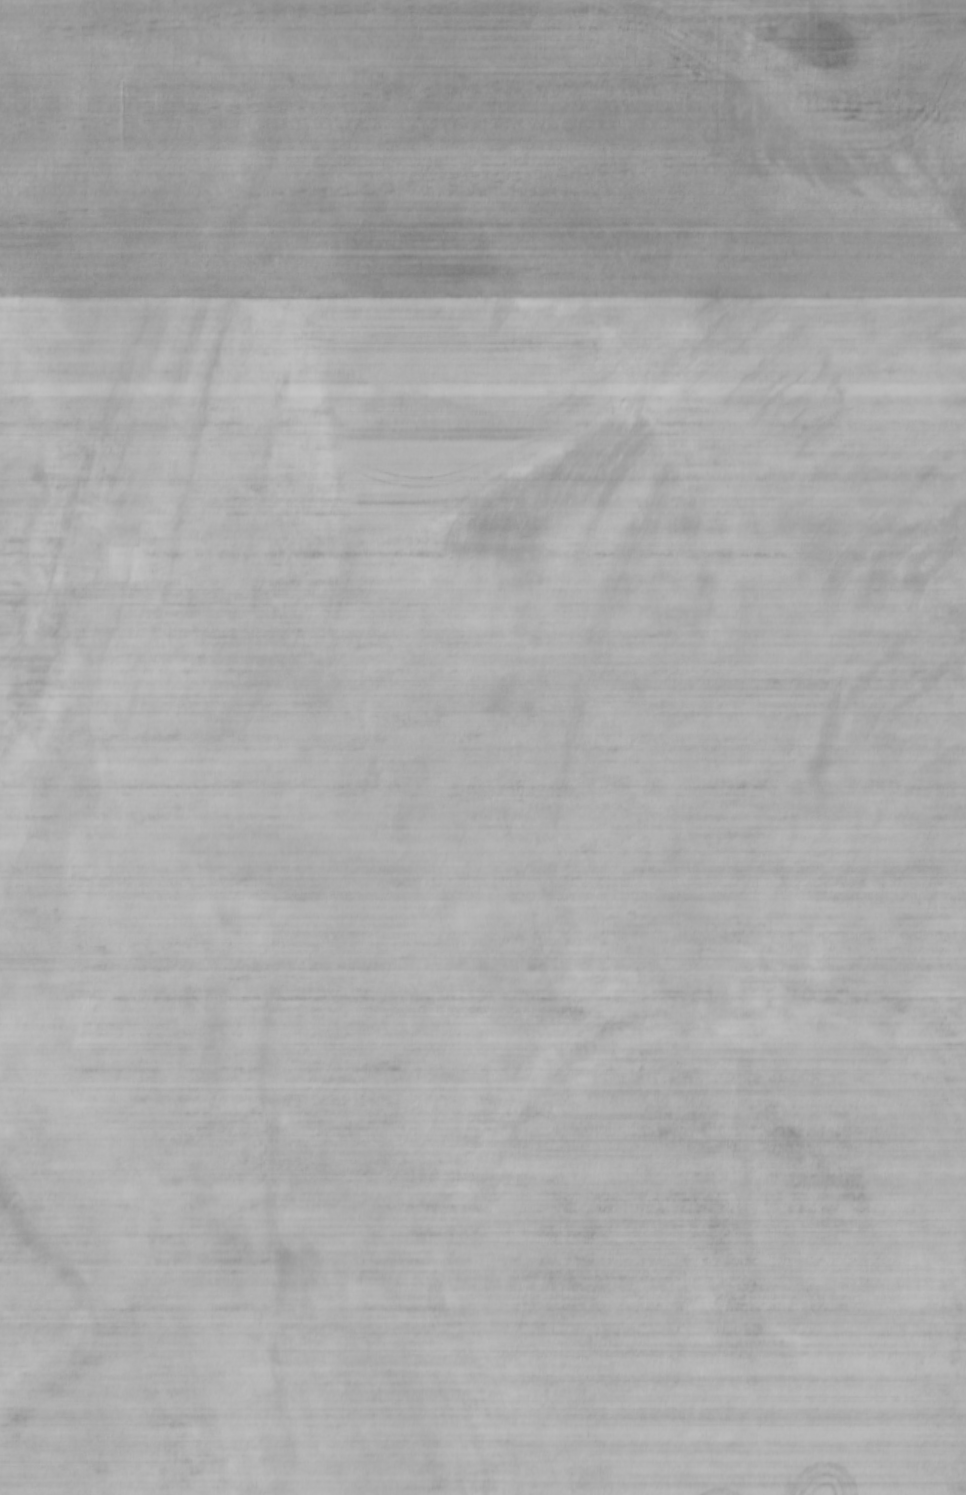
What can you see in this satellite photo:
road: (483, 304)

